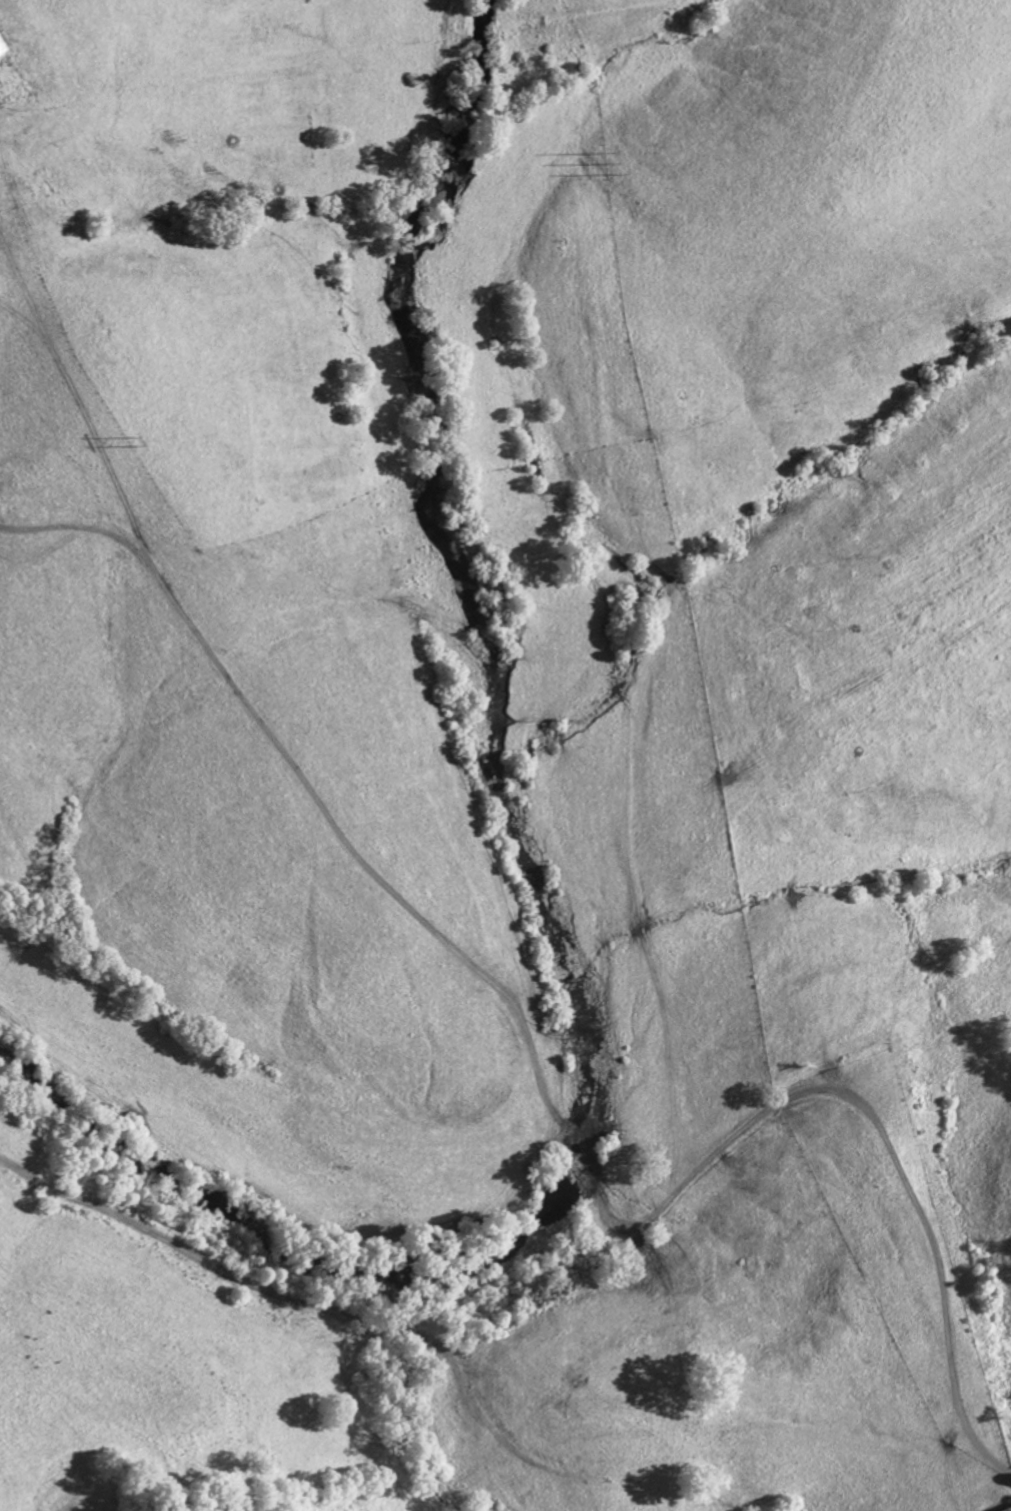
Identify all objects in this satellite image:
power tower: (135, 440)
building: (1010, 1510)

